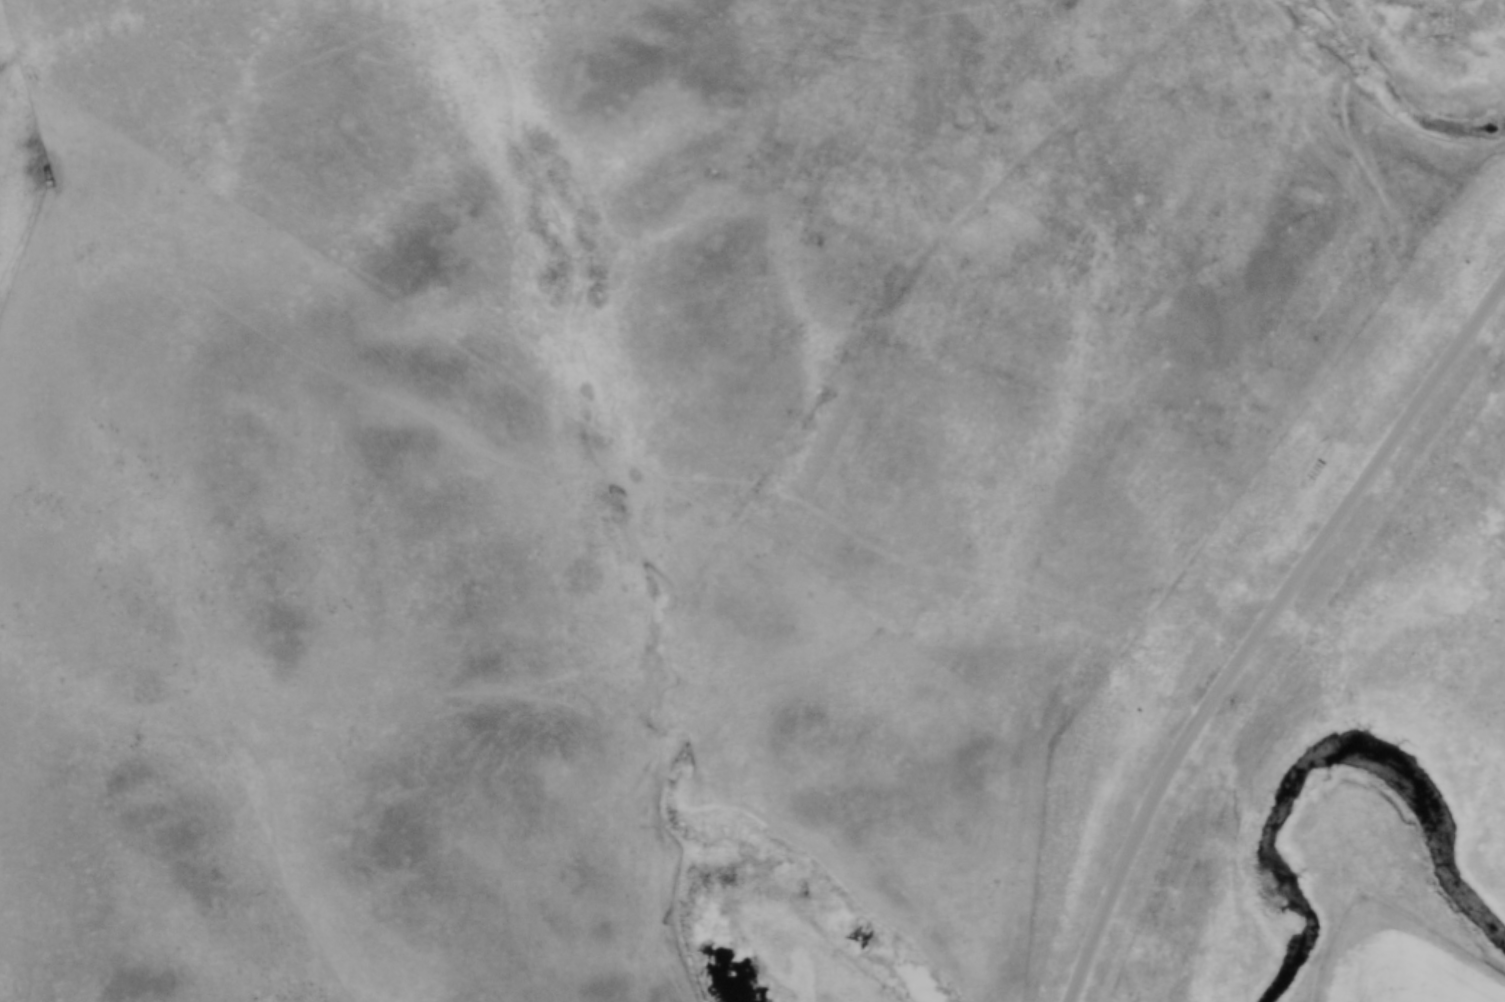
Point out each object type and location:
road: (1263, 628)

